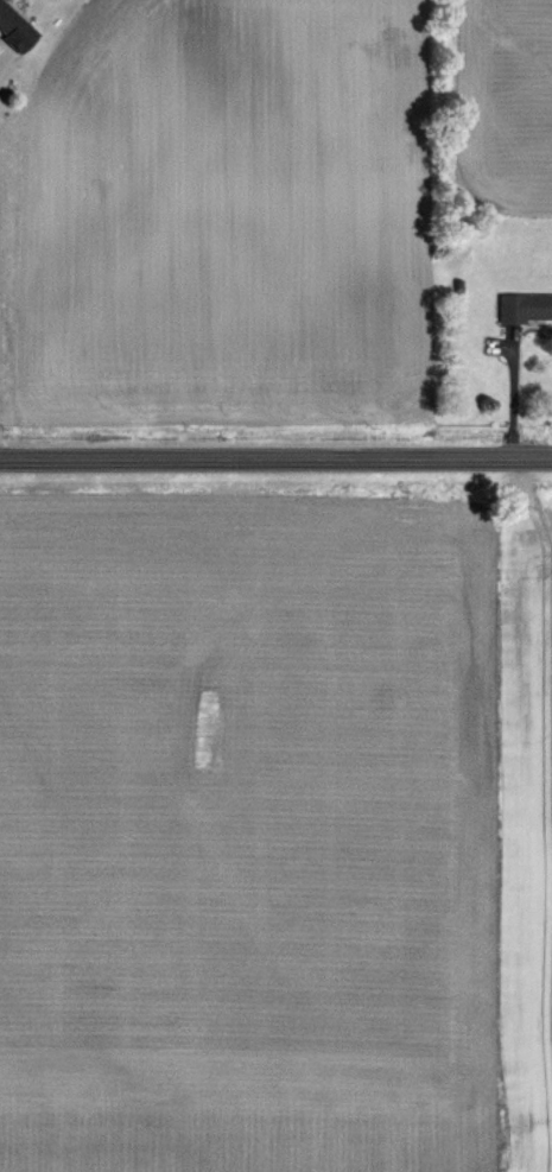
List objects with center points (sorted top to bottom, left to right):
building: (18, 27)
building: (528, 309)
road: (514, 393)
road: (275, 457)

